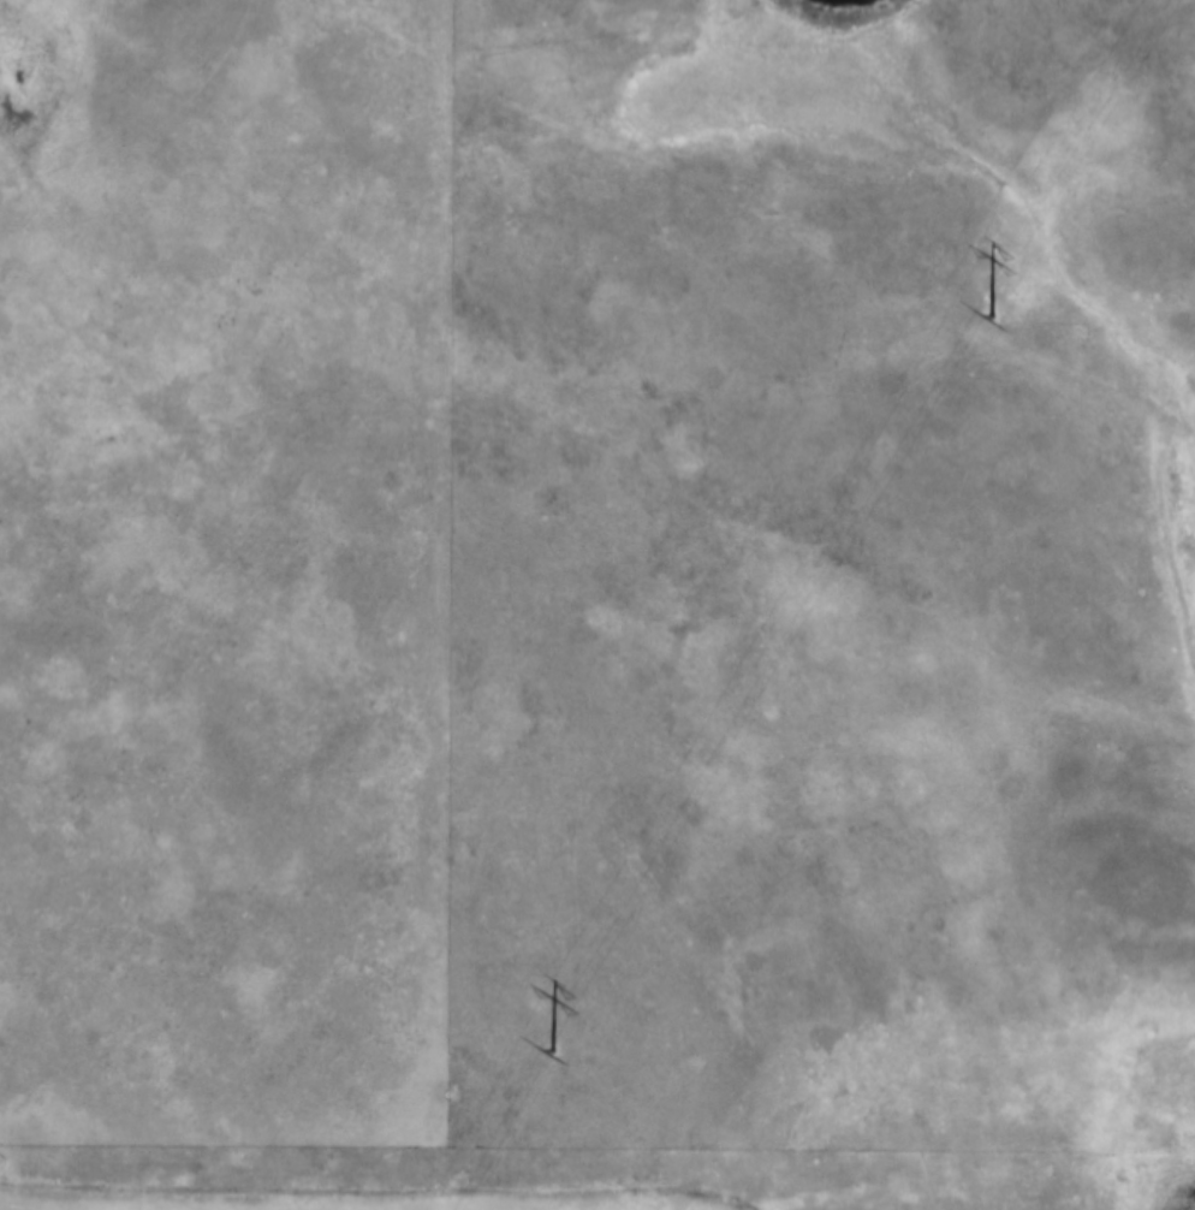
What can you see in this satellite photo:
power tower: (986, 296)
power tower: (540, 1030)

